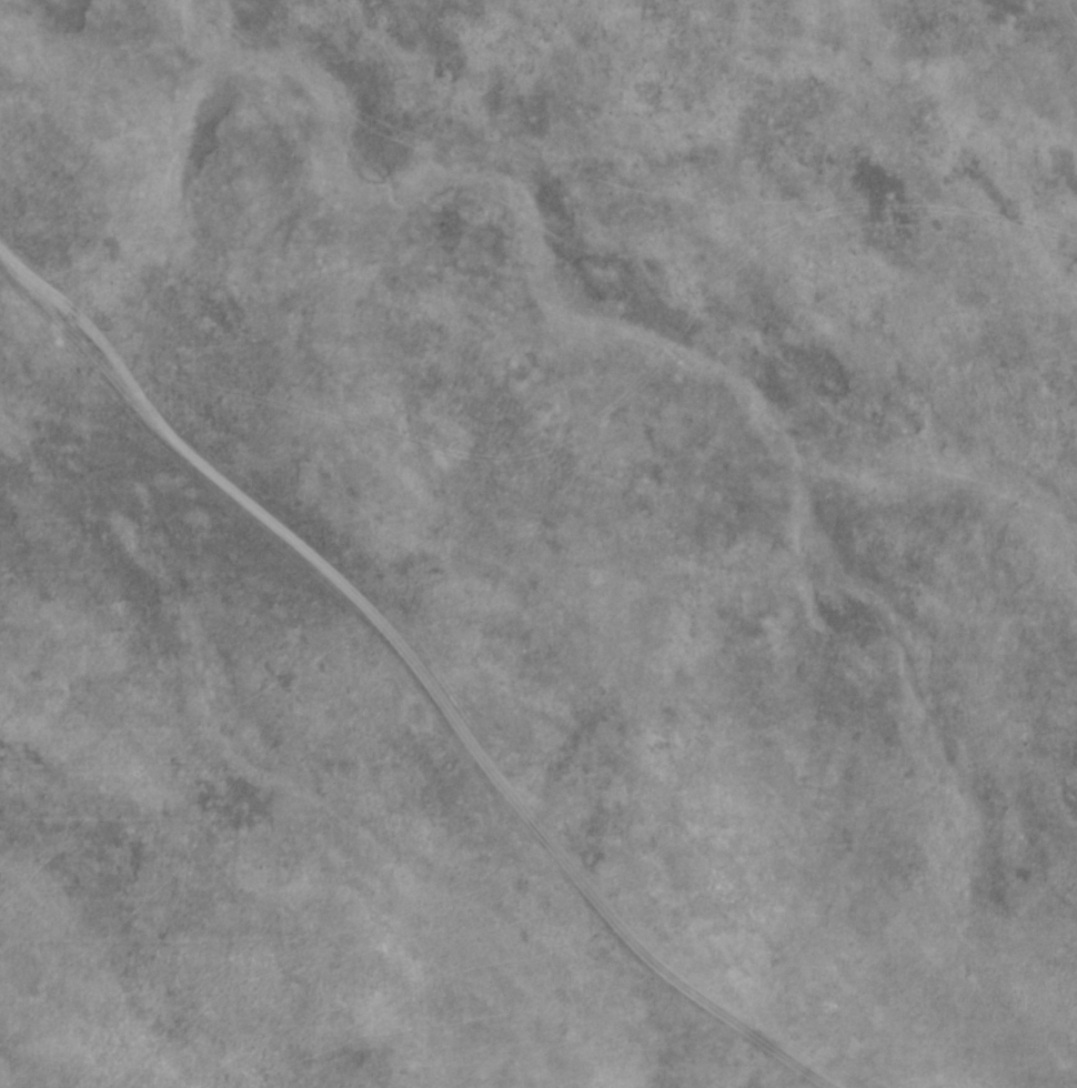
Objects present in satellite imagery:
road: (1065, 24)
road: (403, 672)

